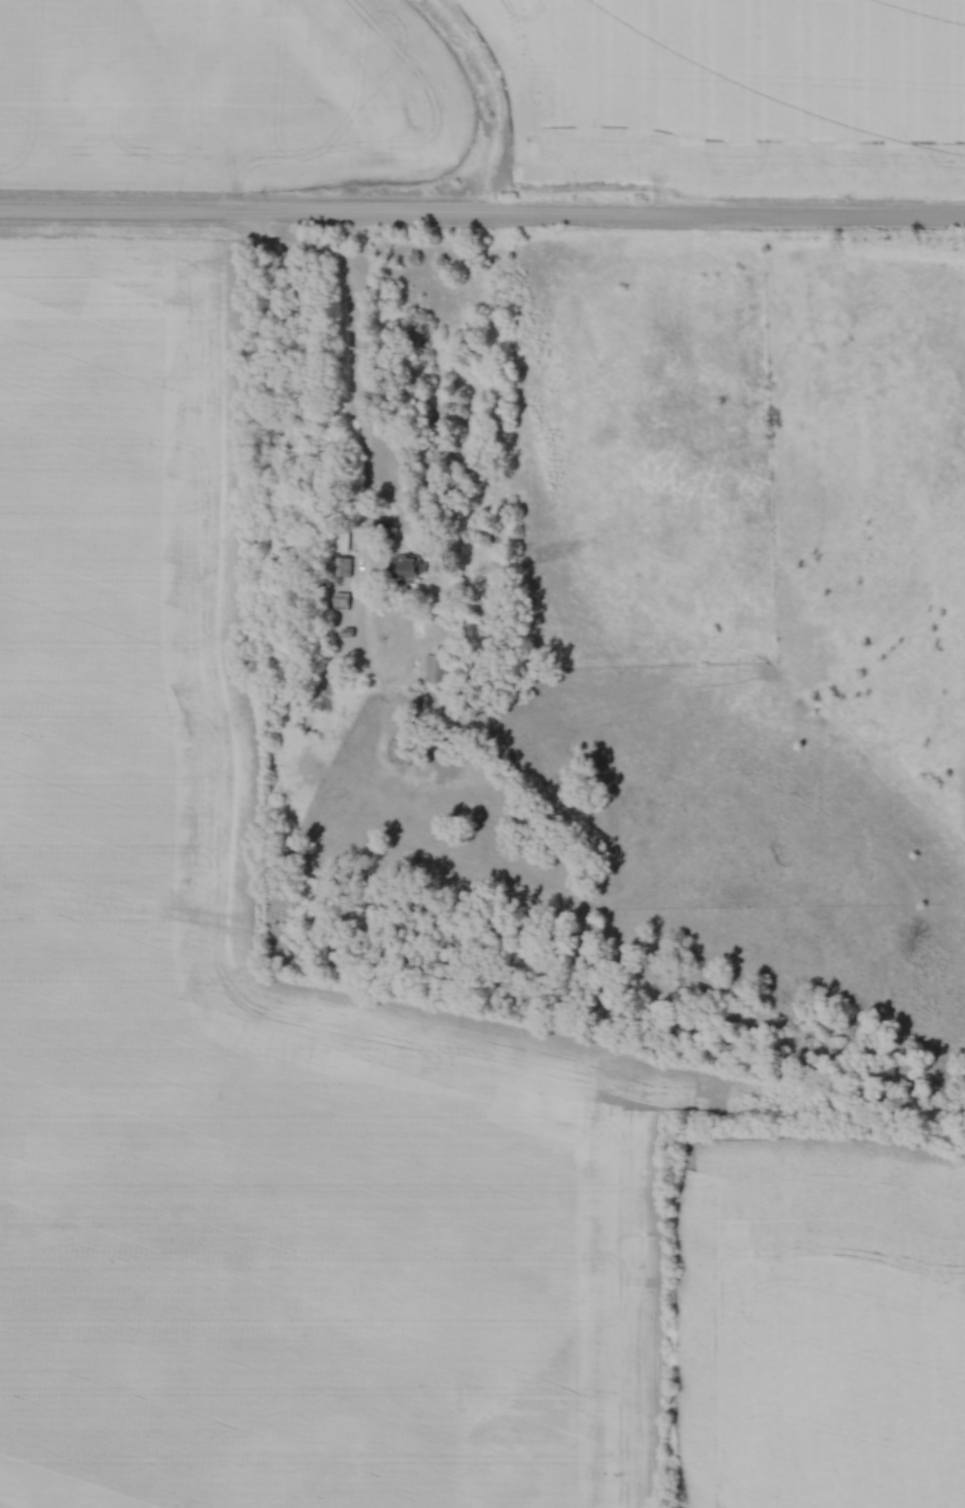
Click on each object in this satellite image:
road: (482, 216)
road: (366, 385)
building: (341, 540)
building: (402, 567)
building: (341, 602)
building: (438, 667)

